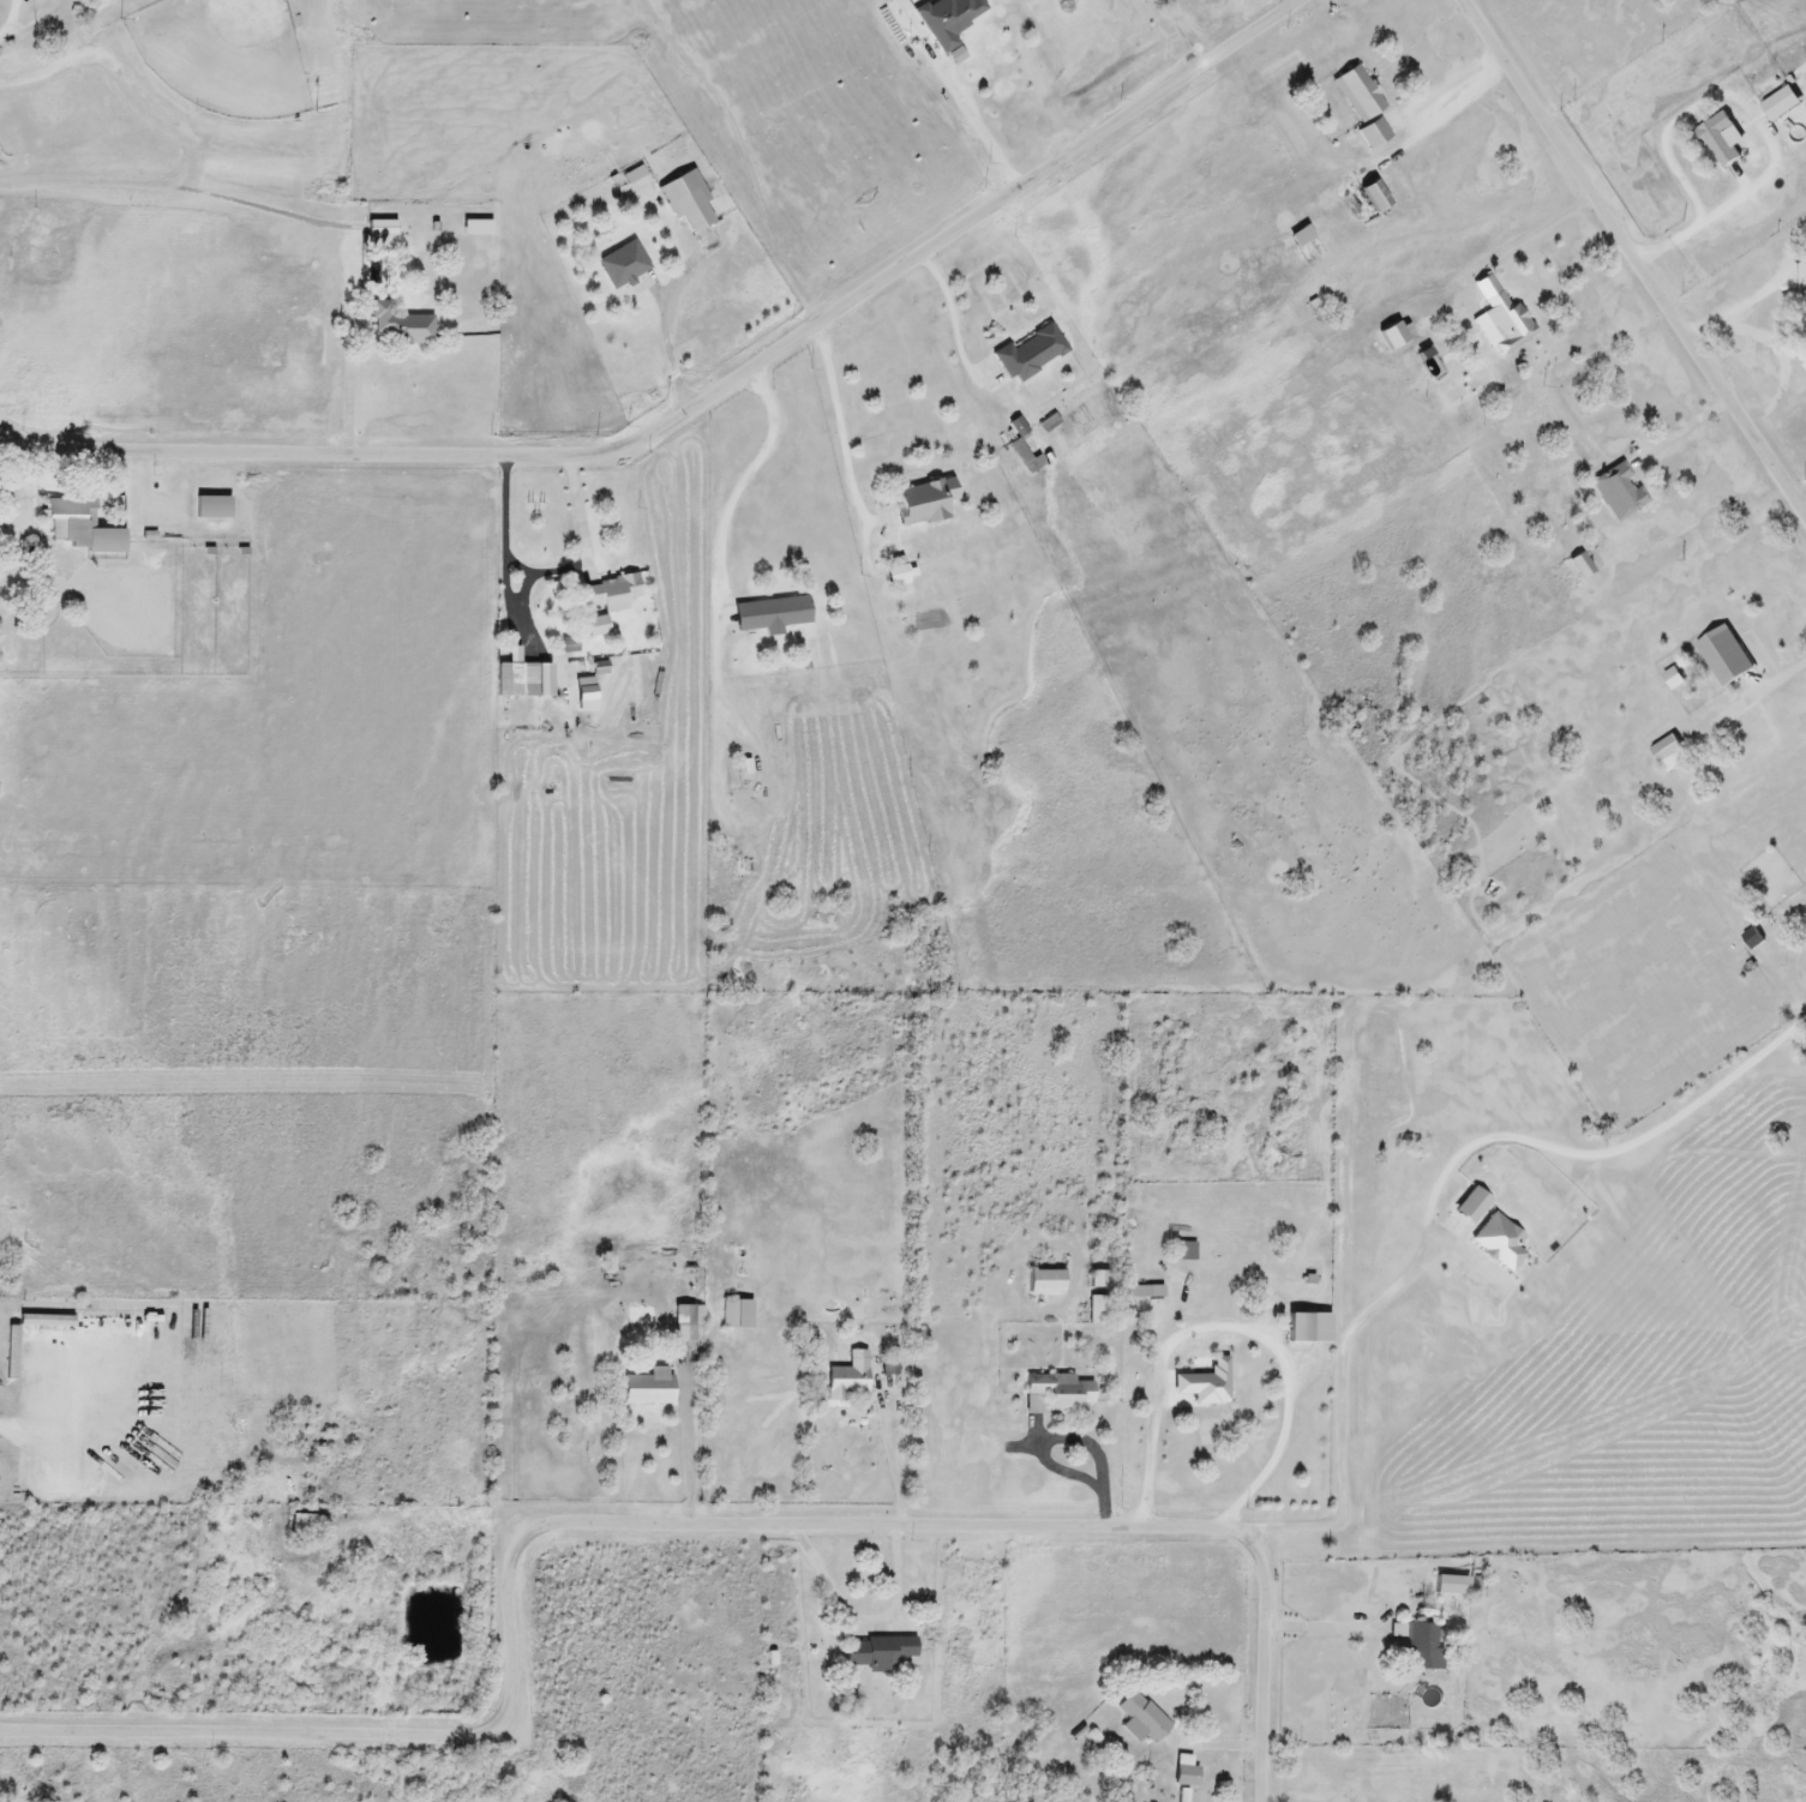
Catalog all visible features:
building: (946, 19)
road: (130, 82)
road: (1453, 88)
building: (1357, 94)
road: (971, 118)
building: (1372, 134)
building: (1718, 140)
road: (169, 186)
building: (1373, 197)
building: (691, 211)
road: (1699, 224)
road: (1543, 232)
building: (379, 235)
building: (1300, 236)
road: (1636, 254)
building: (622, 266)
building: (1804, 298)
road: (952, 320)
building: (1505, 323)
road: (670, 325)
building: (400, 328)
road: (1778, 344)
building: (1030, 354)
road: (350, 383)
road: (704, 404)
road: (842, 430)
road: (1686, 432)
road: (745, 488)
building: (1618, 494)
building: (922, 503)
building: (210, 509)
road: (583, 522)
building: (77, 525)
road: (508, 565)
building: (1579, 566)
road: (529, 581)
building: (610, 594)
building: (769, 614)
building: (1723, 657)
road: (1786, 677)
building: (516, 680)
building: (1668, 755)
building: (1751, 939)
building: (1096, 1280)
building: (1043, 1283)
building: (1142, 1292)
building: (734, 1315)
building: (682, 1325)
road: (1237, 1328)
building: (1297, 1329)
building: (847, 1381)
building: (1205, 1383)
building: (648, 1388)
building: (1060, 1392)
road: (1342, 1398)
road: (1063, 1436)
road: (689, 1449)
road: (895, 1470)
road: (667, 1526)
building: (300, 1528)
road: (866, 1623)
road: (1326, 1629)
building: (1417, 1647)
building: (875, 1653)
building: (1139, 1720)
building: (1183, 1777)

